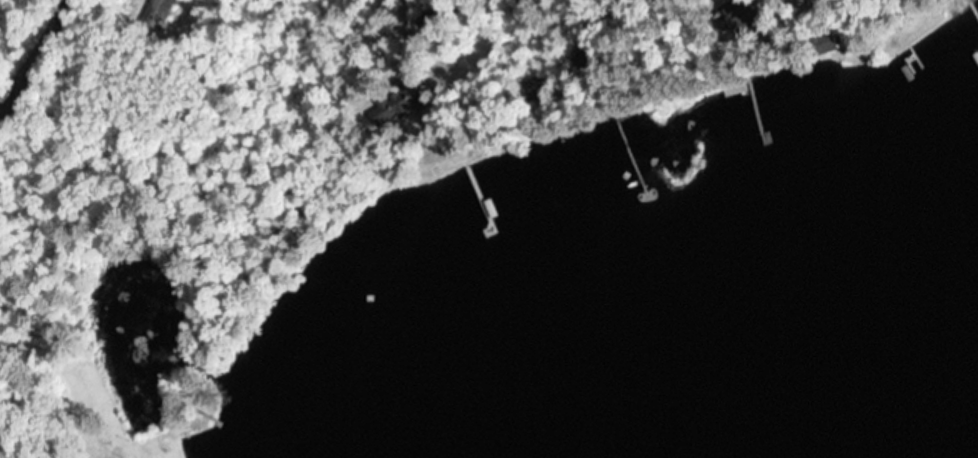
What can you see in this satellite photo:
building: (158, 3)
road: (437, 13)
road: (719, 14)
road: (25, 41)
building: (401, 100)

